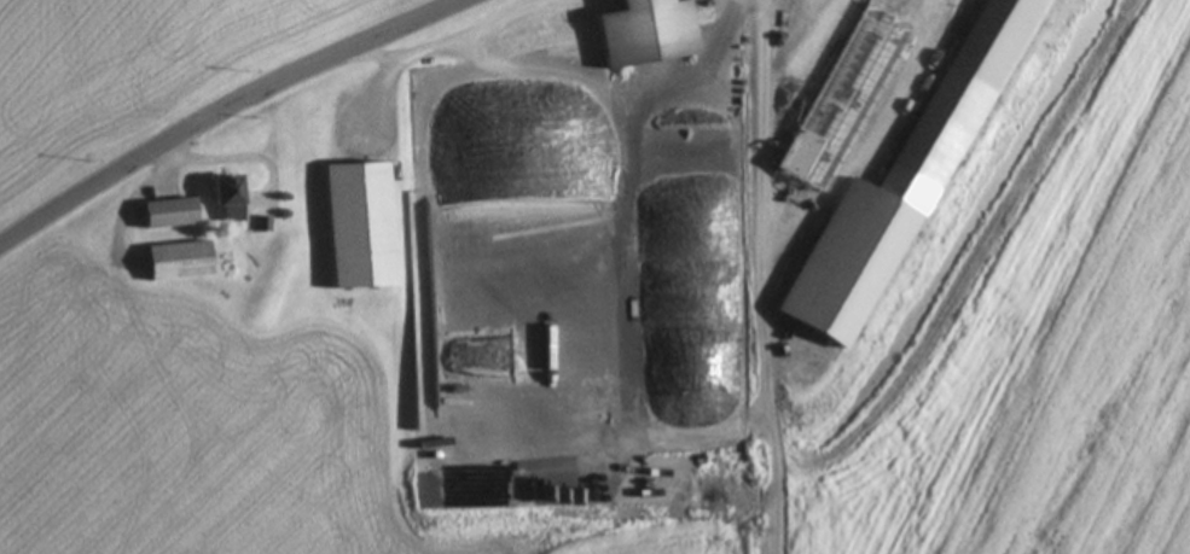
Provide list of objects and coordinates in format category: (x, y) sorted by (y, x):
building: (645, 25)
road: (441, 42)
road: (611, 80)
building: (853, 100)
road: (243, 113)
road: (870, 133)
building: (904, 191)
building: (230, 196)
building: (170, 212)
building: (359, 224)
building: (180, 259)
road: (759, 276)

